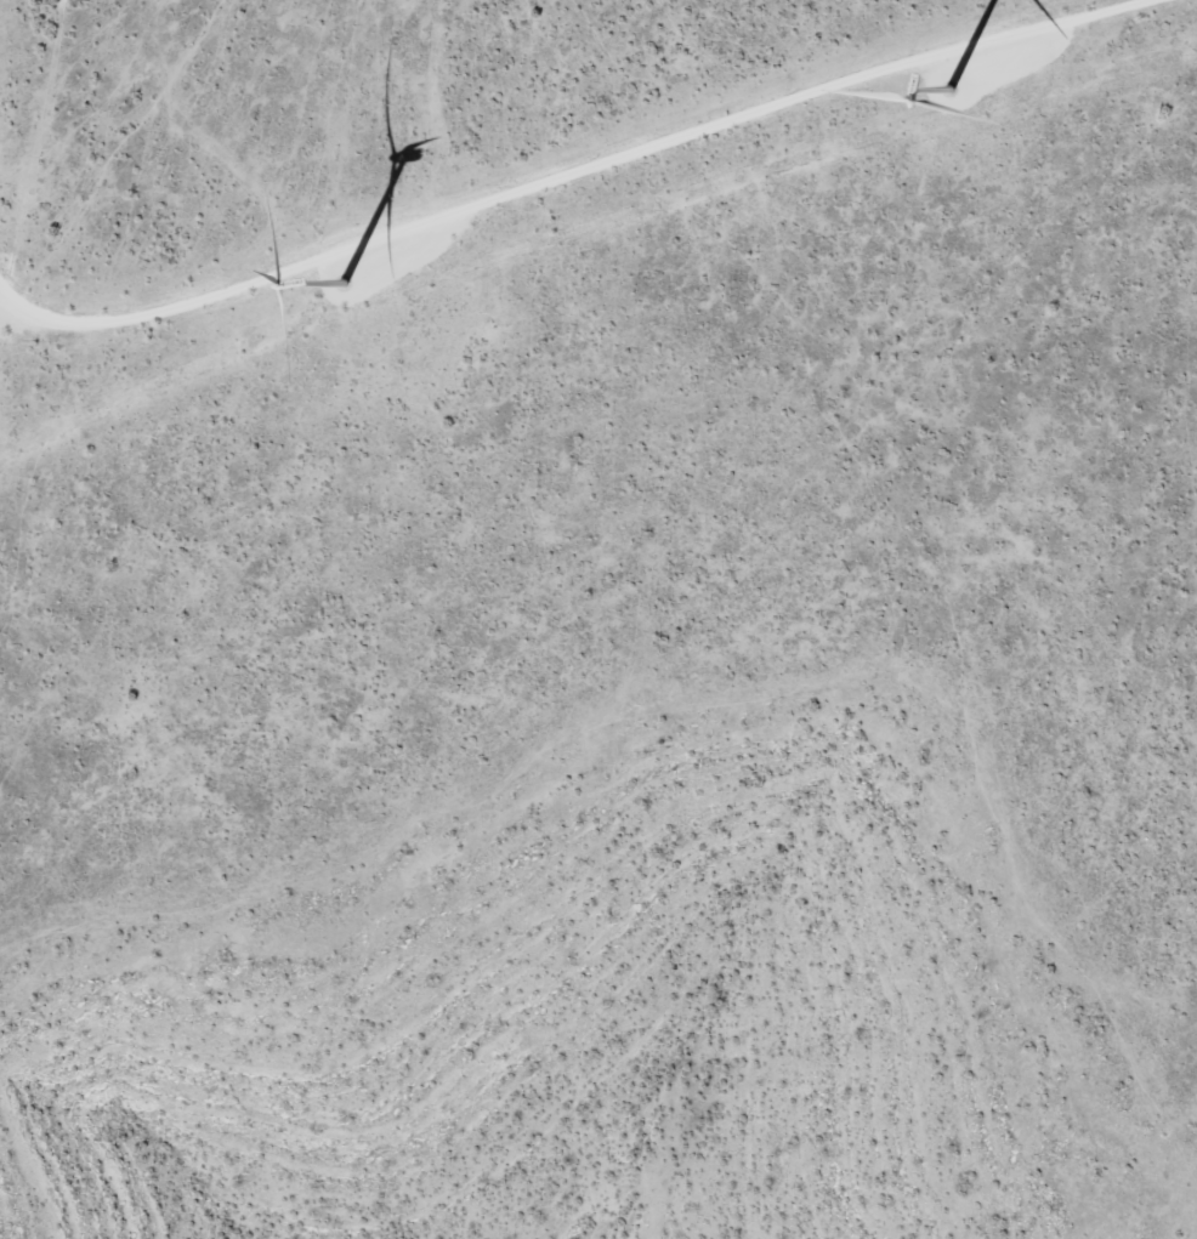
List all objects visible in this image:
wind turbine: (947, 92)
road: (49, 182)
wind turbine: (342, 284)

